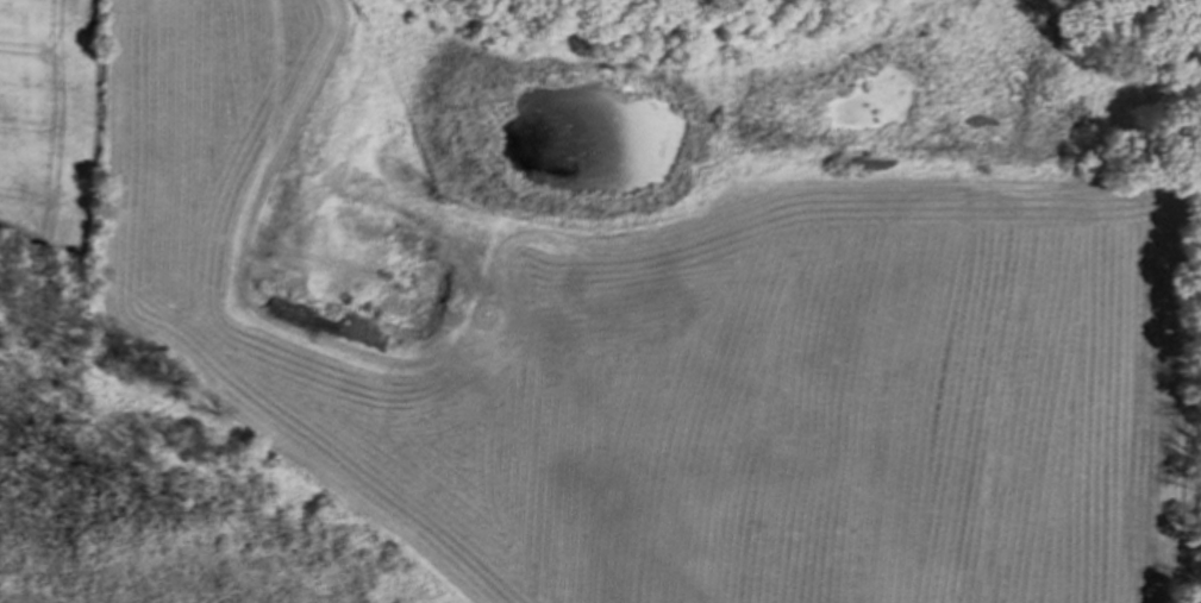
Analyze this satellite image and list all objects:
crop: (627, 296)

